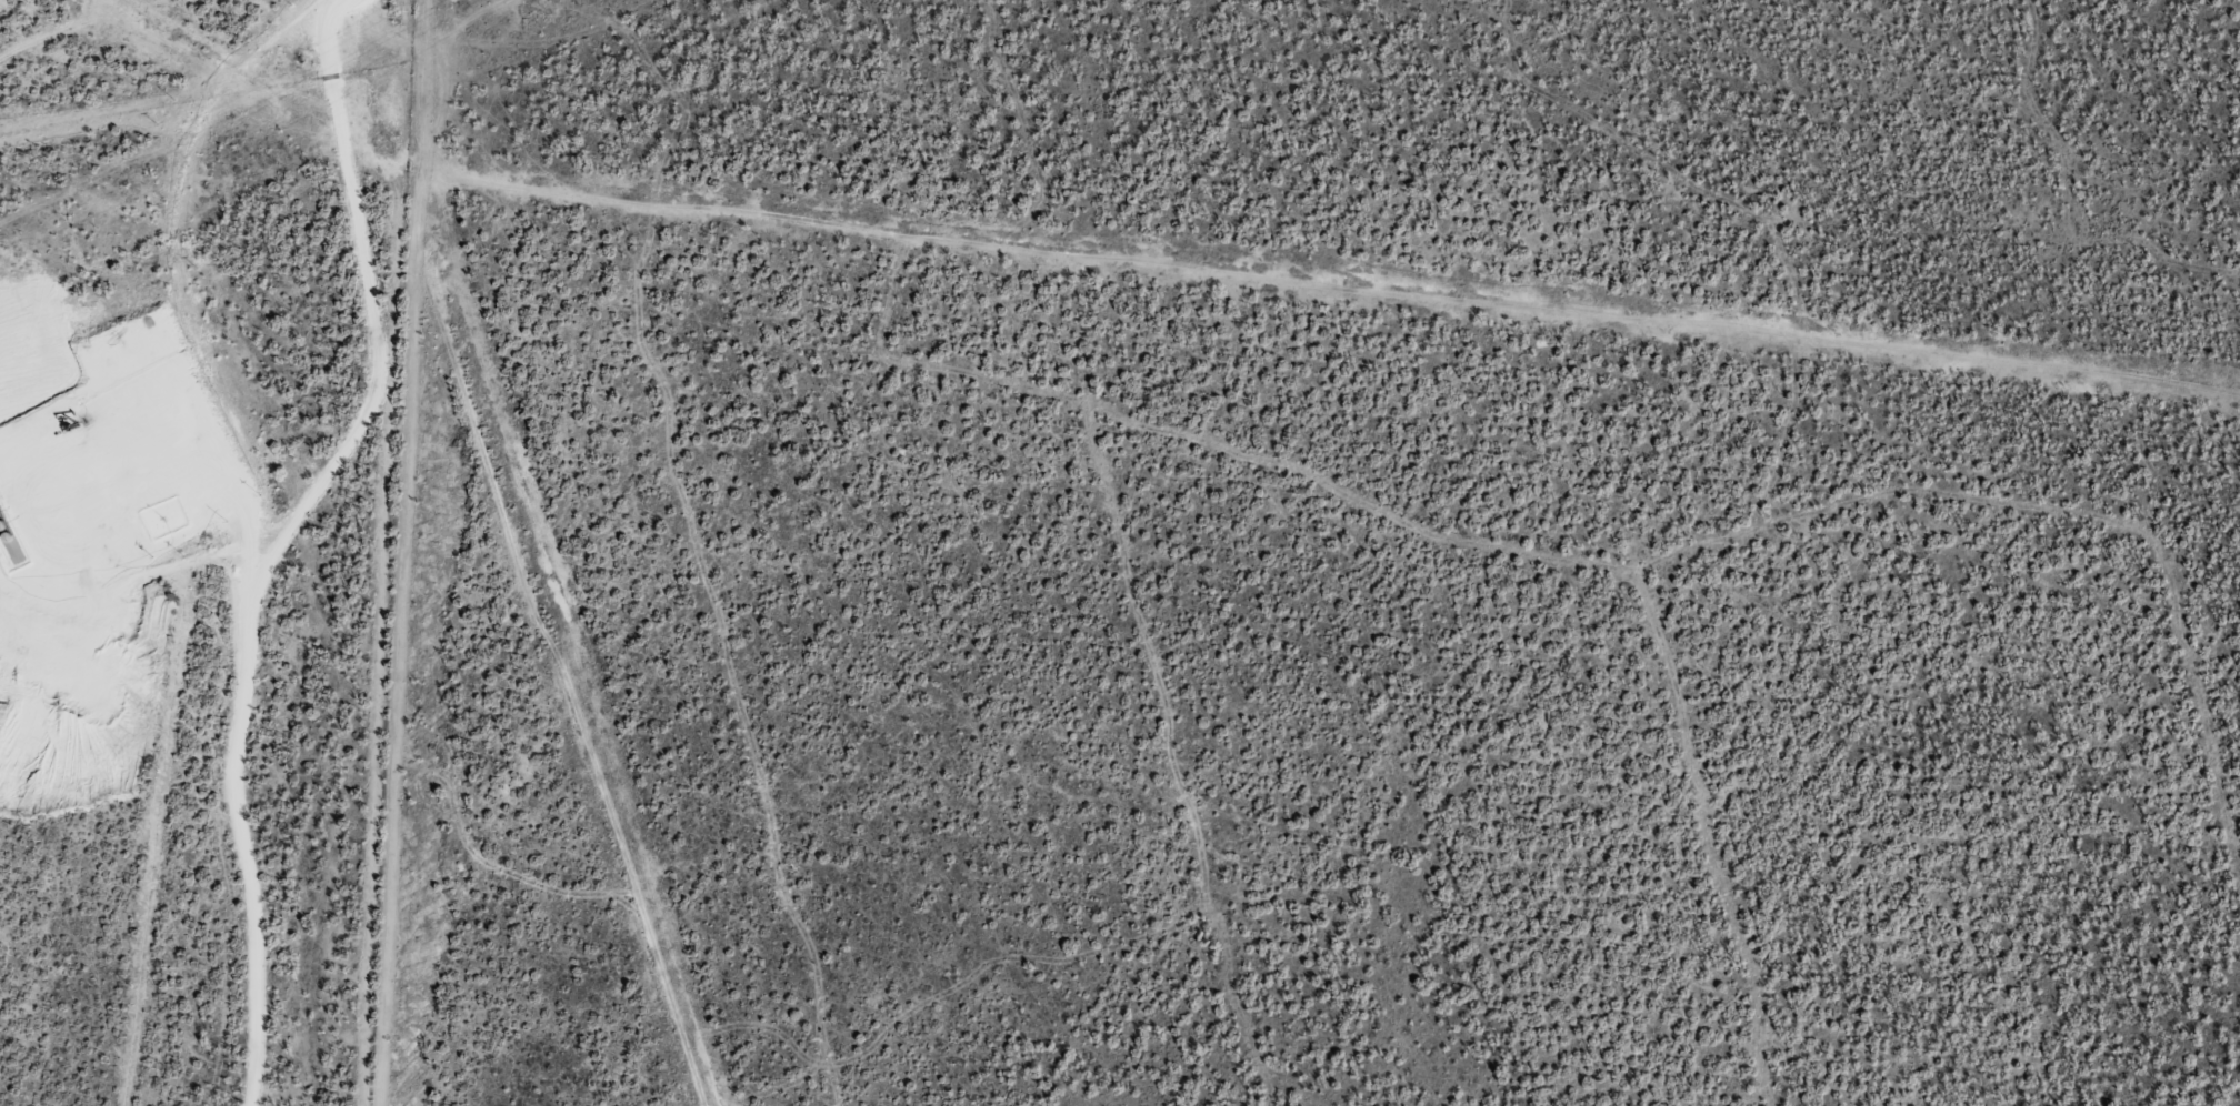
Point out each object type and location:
power tower: (541, 6)

